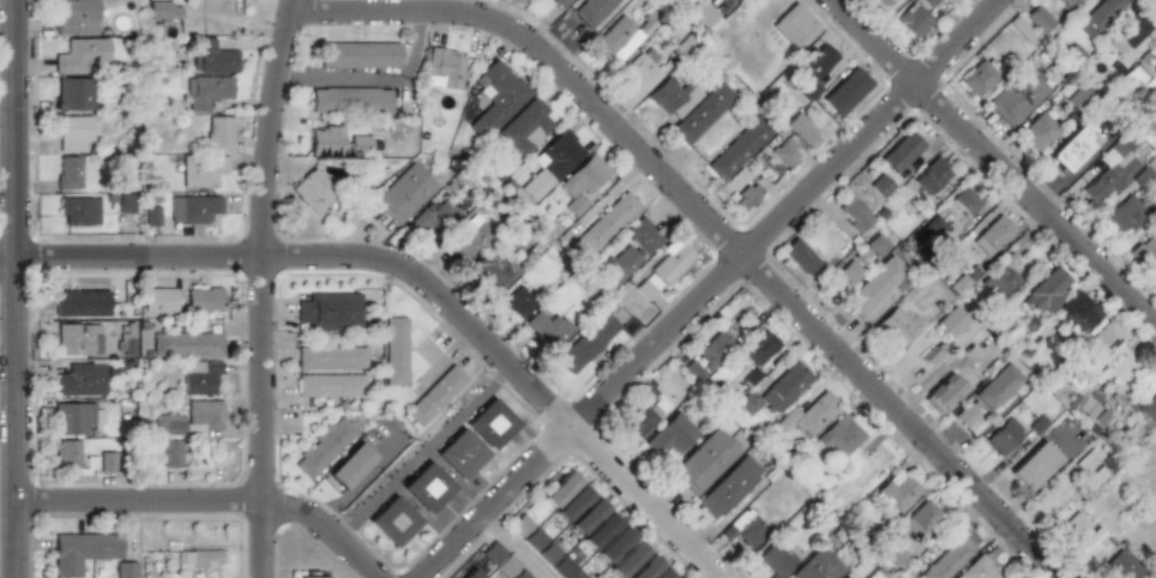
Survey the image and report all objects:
building: (560, 2)
building: (887, 2)
building: (1064, 2)
building: (164, 10)
building: (591, 11)
building: (699, 14)
building: (76, 16)
building: (1097, 16)
building: (915, 17)
building: (1037, 19)
building: (794, 26)
building: (1019, 29)
building: (1131, 30)
building: (620, 37)
building: (79, 54)
building: (359, 55)
building: (212, 56)
building: (815, 60)
building: (444, 68)
building: (640, 68)
building: (1152, 71)
road: (375, 79)
building: (976, 79)
building: (807, 90)
building: (207, 91)
building: (844, 91)
building: (74, 94)
building: (498, 97)
building: (1014, 97)
building: (350, 100)
building: (690, 106)
building: (1150, 119)
building: (525, 127)
building: (800, 130)
building: (1035, 132)
building: (73, 133)
building: (218, 133)
building: (327, 140)
building: (360, 145)
building: (739, 147)
building: (1070, 147)
building: (899, 151)
building: (784, 153)
building: (558, 155)
road: (994, 163)
building: (203, 170)
building: (1113, 170)
building: (67, 173)
building: (929, 176)
building: (583, 183)
building: (879, 186)
building: (314, 191)
building: (404, 193)
building: (746, 195)
building: (962, 200)
building: (126, 201)
building: (198, 207)
building: (78, 210)
building: (853, 213)
building: (151, 216)
building: (1120, 216)
building: (438, 217)
road: (710, 221)
building: (607, 223)
building: (931, 229)
building: (988, 235)
building: (472, 239)
building: (875, 245)
building: (632, 249)
building: (1145, 249)
building: (799, 257)
building: (496, 269)
building: (663, 269)
building: (849, 271)
building: (1152, 271)
road: (420, 277)
building: (995, 279)
building: (872, 287)
building: (1044, 287)
road: (263, 288)
road: (711, 288)
road: (17, 289)
building: (158, 297)
building: (203, 299)
building: (519, 301)
building: (80, 302)
building: (331, 309)
building: (1074, 312)
building: (950, 319)
building: (897, 325)
building: (548, 327)
building: (77, 338)
building: (125, 343)
building: (586, 343)
building: (1098, 343)
building: (186, 344)
building: (759, 347)
building: (714, 349)
building: (396, 350)
building: (931, 354)
building: (331, 356)
building: (694, 371)
building: (200, 377)
building: (82, 379)
building: (998, 384)
building: (331, 385)
road: (8, 389)
building: (944, 389)
building: (776, 391)
building: (434, 396)
building: (1072, 399)
building: (1086, 405)
building: (1149, 409)
building: (648, 410)
building: (965, 411)
building: (812, 414)
building: (74, 417)
building: (189, 419)
building: (1140, 419)
building: (490, 423)
building: (1003, 433)
building: (673, 435)
building: (841, 435)
building: (323, 446)
building: (163, 452)
building: (67, 453)
building: (459, 453)
building: (706, 460)
building: (1034, 460)
building: (108, 462)
building: (351, 464)
building: (425, 486)
building: (730, 488)
building: (559, 489)
building: (896, 492)
road: (211, 501)
building: (572, 502)
building: (588, 516)
building: (920, 519)
building: (392, 522)
building: (1072, 524)
building: (749, 528)
building: (600, 531)
building: (534, 540)
road: (517, 546)
building: (613, 546)
building: (83, 550)
building: (548, 553)
building: (776, 558)
building: (201, 559)
building: (627, 559)
building: (949, 559)
building: (499, 560)
building: (561, 566)
building: (818, 566)
building: (1120, 566)
building: (644, 568)
building: (126, 570)
building: (977, 570)
building: (664, 573)
building: (470, 574)
building: (520, 574)
building: (311, 577)

